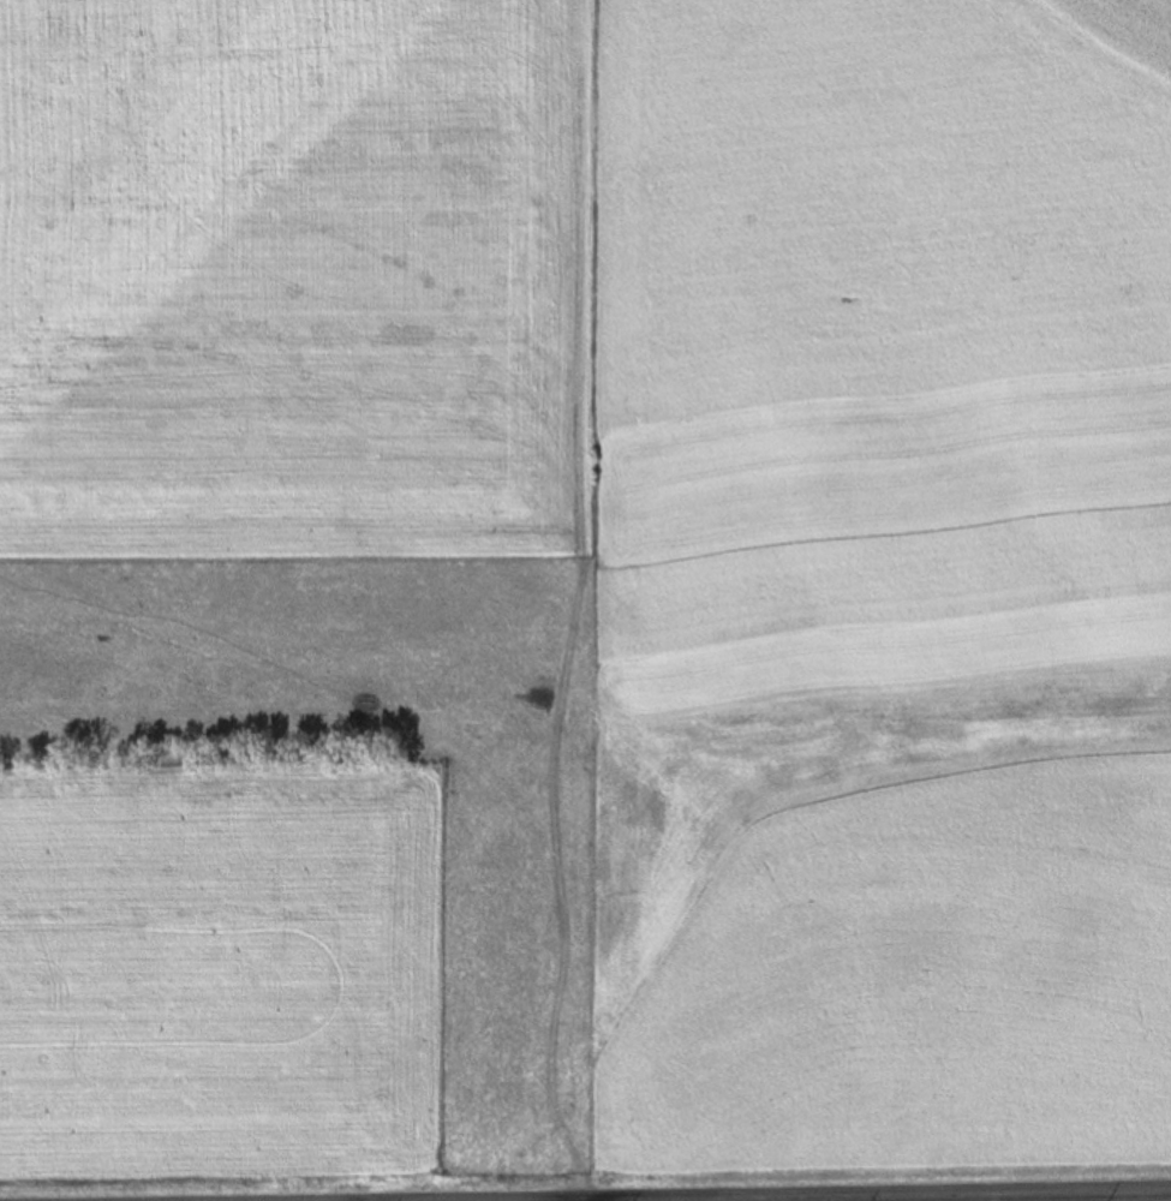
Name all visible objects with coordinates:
road: (907, 1195)

